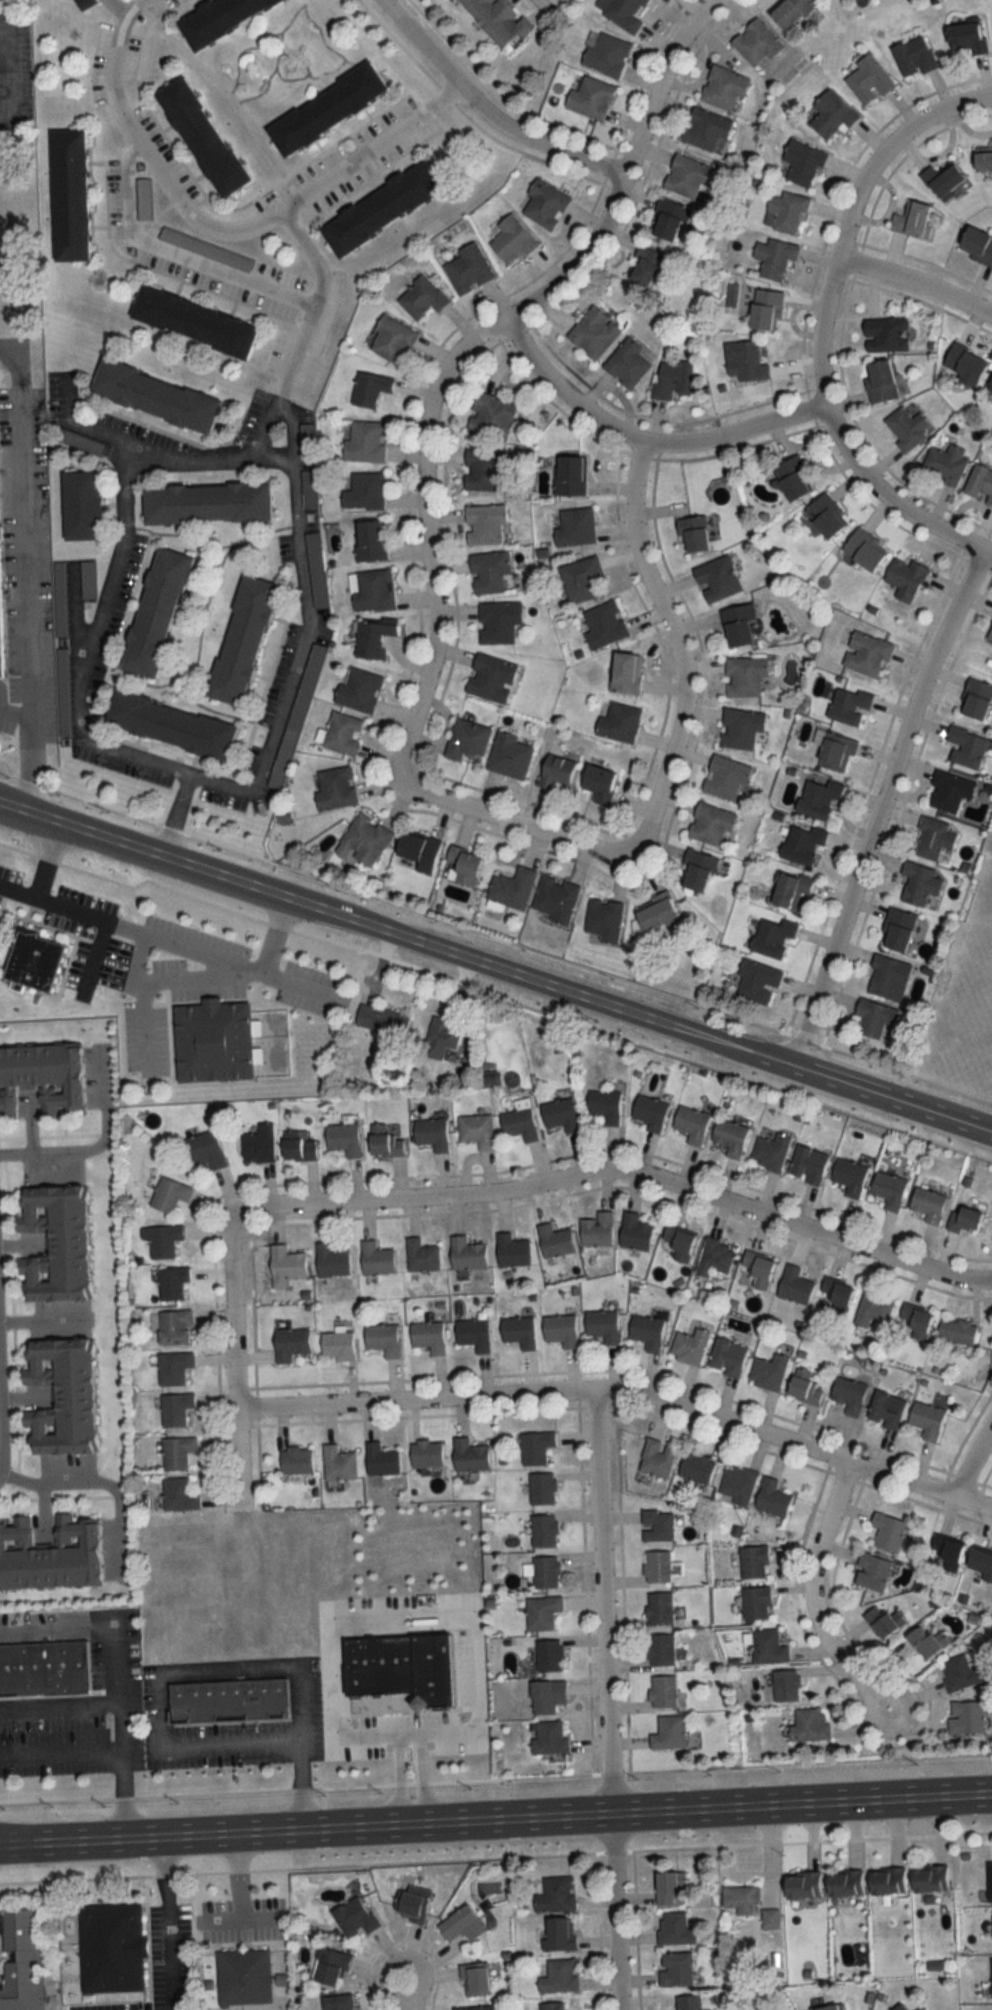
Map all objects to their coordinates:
road: (540, 2)
building: (789, 12)
building: (624, 13)
building: (219, 18)
building: (496, 21)
building: (966, 37)
road: (420, 39)
building: (756, 43)
building: (605, 54)
building: (913, 57)
road: (11, 65)
building: (867, 80)
building: (722, 89)
road: (229, 93)
building: (590, 99)
building: (329, 108)
building: (830, 116)
building: (706, 131)
building: (203, 135)
road: (531, 137)
building: (802, 163)
building: (983, 163)
building: (686, 177)
building: (943, 181)
building: (71, 195)
building: (141, 200)
building: (544, 204)
building: (382, 207)
road: (847, 211)
building: (785, 212)
building: (667, 219)
building: (912, 220)
road: (217, 232)
building: (511, 241)
building: (976, 246)
building: (204, 249)
road: (174, 256)
building: (774, 257)
building: (644, 266)
building: (466, 269)
road: (916, 282)
road: (316, 296)
building: (421, 298)
building: (765, 309)
building: (193, 322)
building: (593, 333)
building: (886, 334)
building: (392, 340)
road: (464, 343)
building: (747, 361)
building: (627, 363)
building: (965, 363)
building: (672, 379)
building: (880, 380)
building: (989, 385)
building: (370, 388)
building: (161, 395)
building: (491, 416)
road: (83, 425)
building: (906, 427)
road: (291, 429)
road: (263, 436)
building: (364, 441)
road: (639, 442)
building: (945, 462)
building: (484, 469)
building: (569, 474)
building: (791, 477)
building: (980, 482)
building: (364, 491)
road: (889, 499)
building: (208, 501)
building: (87, 505)
building: (825, 514)
building: (485, 523)
building: (574, 526)
building: (692, 533)
building: (369, 539)
building: (312, 547)
building: (864, 548)
building: (1, 564)
road: (22, 570)
building: (488, 571)
building: (580, 578)
building: (716, 578)
building: (904, 578)
building: (89, 579)
building: (370, 590)
building: (62, 598)
building: (154, 612)
road: (97, 615)
building: (497, 621)
building: (603, 624)
building: (739, 624)
building: (990, 633)
road: (306, 634)
building: (372, 638)
building: (241, 640)
building: (865, 653)
building: (625, 673)
building: (744, 676)
building: (490, 677)
building: (358, 689)
building: (62, 691)
building: (975, 698)
building: (848, 705)
road: (14, 707)
building: (618, 723)
building: (169, 724)
building: (740, 728)
building: (342, 733)
building: (466, 739)
building: (966, 747)
building: (834, 751)
building: (509, 755)
road: (664, 766)
building: (555, 771)
building: (725, 778)
building: (598, 784)
building: (335, 788)
building: (948, 791)
building: (818, 798)
road: (880, 806)
road: (174, 813)
building: (711, 824)
building: (932, 837)
building: (363, 840)
building: (801, 844)
building: (418, 850)
road: (48, 858)
building: (462, 866)
building: (696, 870)
building: (918, 882)
building: (512, 888)
building: (789, 888)
road: (179, 892)
building: (555, 898)
building: (658, 912)
building: (603, 920)
building: (897, 929)
road: (132, 930)
road: (492, 936)
building: (772, 937)
road: (97, 954)
building: (33, 959)
road: (267, 966)
road: (495, 966)
building: (888, 977)
road: (205, 979)
building: (756, 982)
road: (145, 995)
building: (874, 1018)
building: (381, 1021)
building: (214, 1039)
building: (440, 1039)
building: (41, 1076)
building: (605, 1105)
building: (651, 1113)
building: (560, 1114)
building: (519, 1123)
building: (691, 1124)
building: (476, 1130)
building: (431, 1133)
building: (731, 1137)
building: (342, 1138)
building: (384, 1141)
building: (258, 1144)
road: (95, 1145)
building: (297, 1146)
building: (204, 1150)
building: (771, 1152)
building: (809, 1165)
road: (624, 1171)
building: (850, 1176)
building: (889, 1189)
building: (169, 1194)
building: (928, 1204)
building: (962, 1219)
building: (596, 1230)
building: (634, 1232)
building: (163, 1241)
building: (554, 1241)
building: (678, 1242)
building: (55, 1243)
building: (512, 1251)
building: (466, 1254)
building: (421, 1256)
building: (715, 1257)
building: (375, 1259)
building: (331, 1261)
building: (286, 1263)
building: (757, 1269)
building: (172, 1283)
building: (794, 1285)
building: (835, 1293)
building: (872, 1309)
road: (45, 1318)
building: (915, 1321)
building: (602, 1325)
building: (174, 1327)
building: (560, 1330)
building: (519, 1331)
building: (647, 1331)
building: (957, 1331)
building: (473, 1334)
building: (428, 1336)
building: (382, 1339)
building: (289, 1344)
building: (337, 1345)
building: (690, 1346)
building: (727, 1357)
road: (235, 1358)
building: (173, 1368)
building: (769, 1371)
building: (804, 1387)
road: (623, 1392)
building: (61, 1395)
building: (849, 1395)
building: (175, 1409)
building: (886, 1410)
building: (927, 1420)
building: (535, 1448)
building: (176, 1453)
building: (425, 1453)
building: (469, 1455)
road: (971, 1456)
building: (656, 1458)
building: (295, 1460)
building: (380, 1460)
building: (337, 1463)
building: (696, 1468)
road: (96, 1482)
building: (737, 1484)
building: (541, 1489)
building: (178, 1495)
building: (772, 1499)
building: (657, 1525)
building: (543, 1530)
building: (888, 1532)
building: (946, 1553)
building: (49, 1555)
building: (981, 1560)
building: (753, 1563)
building: (657, 1566)
building: (545, 1572)
building: (871, 1572)
road: (811, 1598)
building: (756, 1603)
building: (659, 1608)
building: (541, 1612)
road: (415, 1618)
building: (883, 1621)
building: (925, 1641)
building: (768, 1646)
building: (660, 1651)
building: (548, 1655)
building: (397, 1663)
building: (45, 1665)
road: (208, 1671)
building: (960, 1673)
building: (786, 1685)
building: (662, 1692)
building: (548, 1696)
building: (226, 1699)
road: (605, 1700)
road: (116, 1715)
building: (965, 1717)
building: (808, 1725)
building: (669, 1734)
building: (549, 1738)
road: (421, 1778)
road: (399, 1779)
road: (495, 1819)
building: (929, 1879)
building: (887, 1881)
building: (989, 1881)
building: (845, 1884)
building: (802, 1885)
building: (668, 1886)
building: (555, 1895)
building: (740, 1899)
building: (409, 1904)
building: (353, 1916)
building: (770, 1919)
road: (168, 1924)
building: (460, 1925)
building: (673, 1929)
building: (559, 1934)
building: (115, 1947)
building: (24, 1959)
building: (327, 1966)
building: (675, 1969)
building: (242, 1976)
building: (558, 1977)
building: (991, 1977)
building: (473, 1980)
road: (405, 1991)
building: (337, 2002)
building: (687, 2003)
building: (550, 2006)
building: (831, 2007)
building: (899, 2007)
building: (471, 2008)

